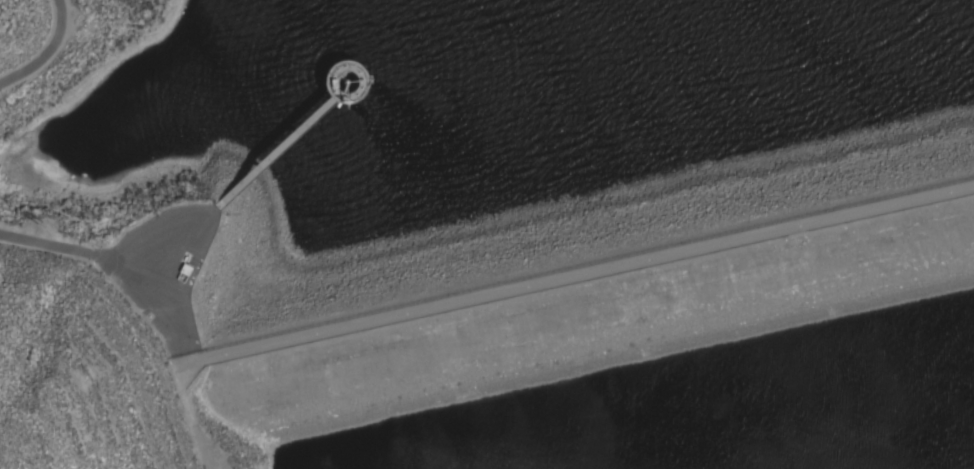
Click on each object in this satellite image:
road: (53, 56)
building: (350, 80)
building: (186, 268)
dam: (529, 272)
road: (461, 307)

